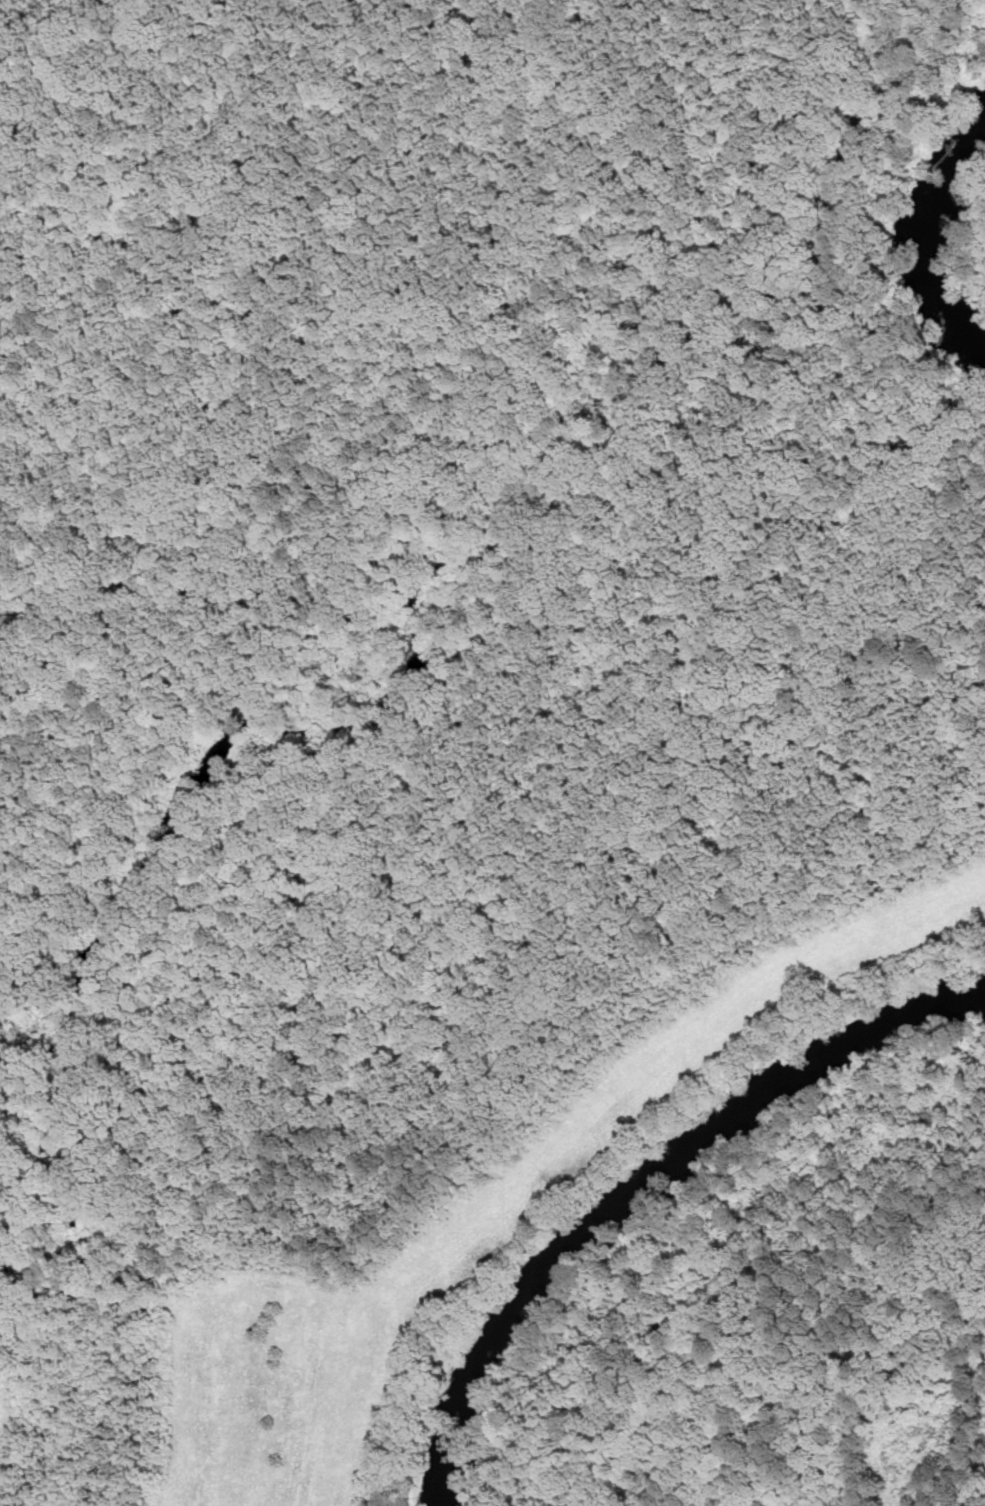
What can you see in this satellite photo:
river: (942, 254)
river: (653, 1197)
road: (812, 1458)

